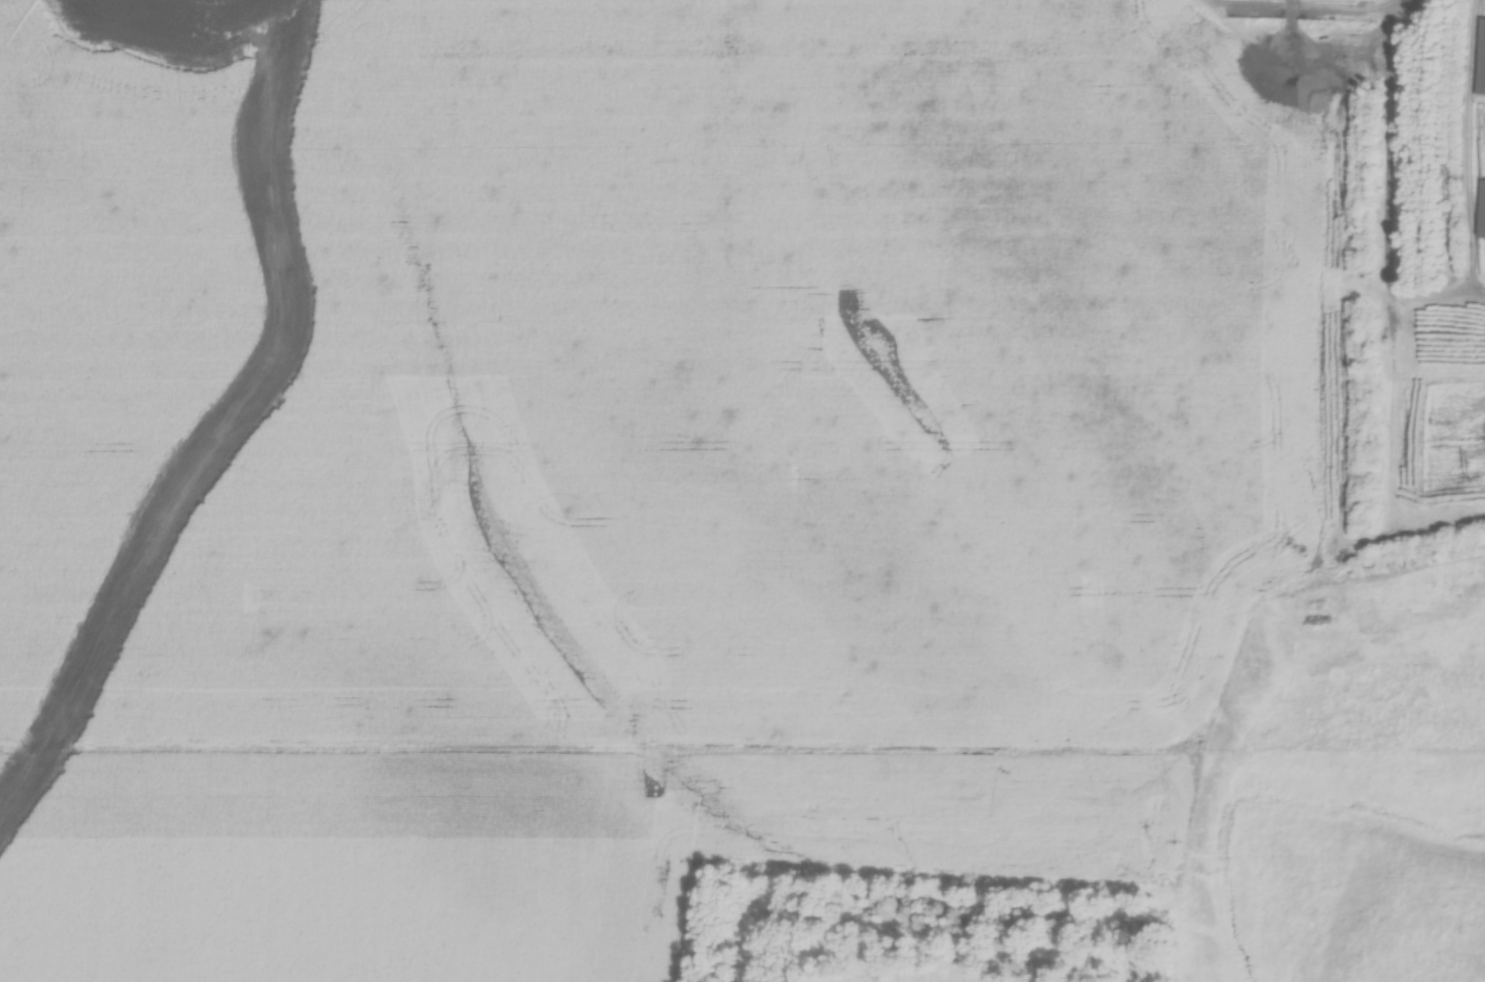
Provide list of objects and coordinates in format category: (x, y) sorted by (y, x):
building: (1479, 62)
building: (1479, 213)

